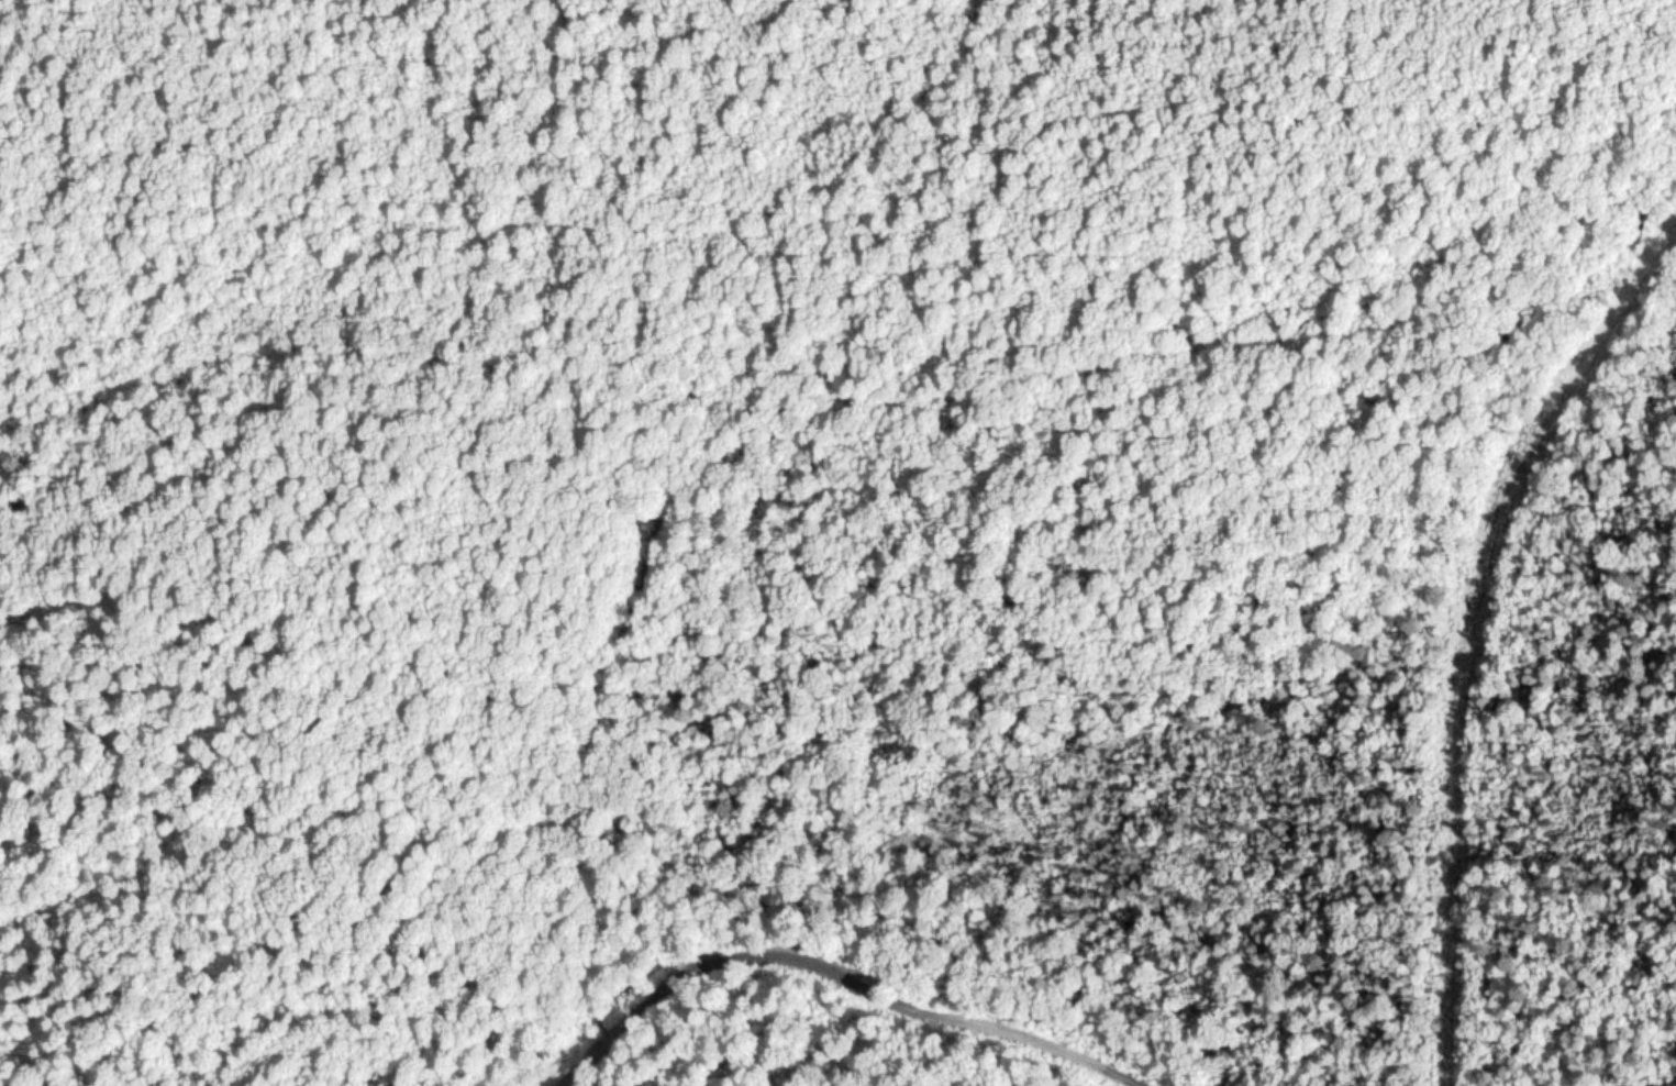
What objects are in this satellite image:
road: (812, 980)

